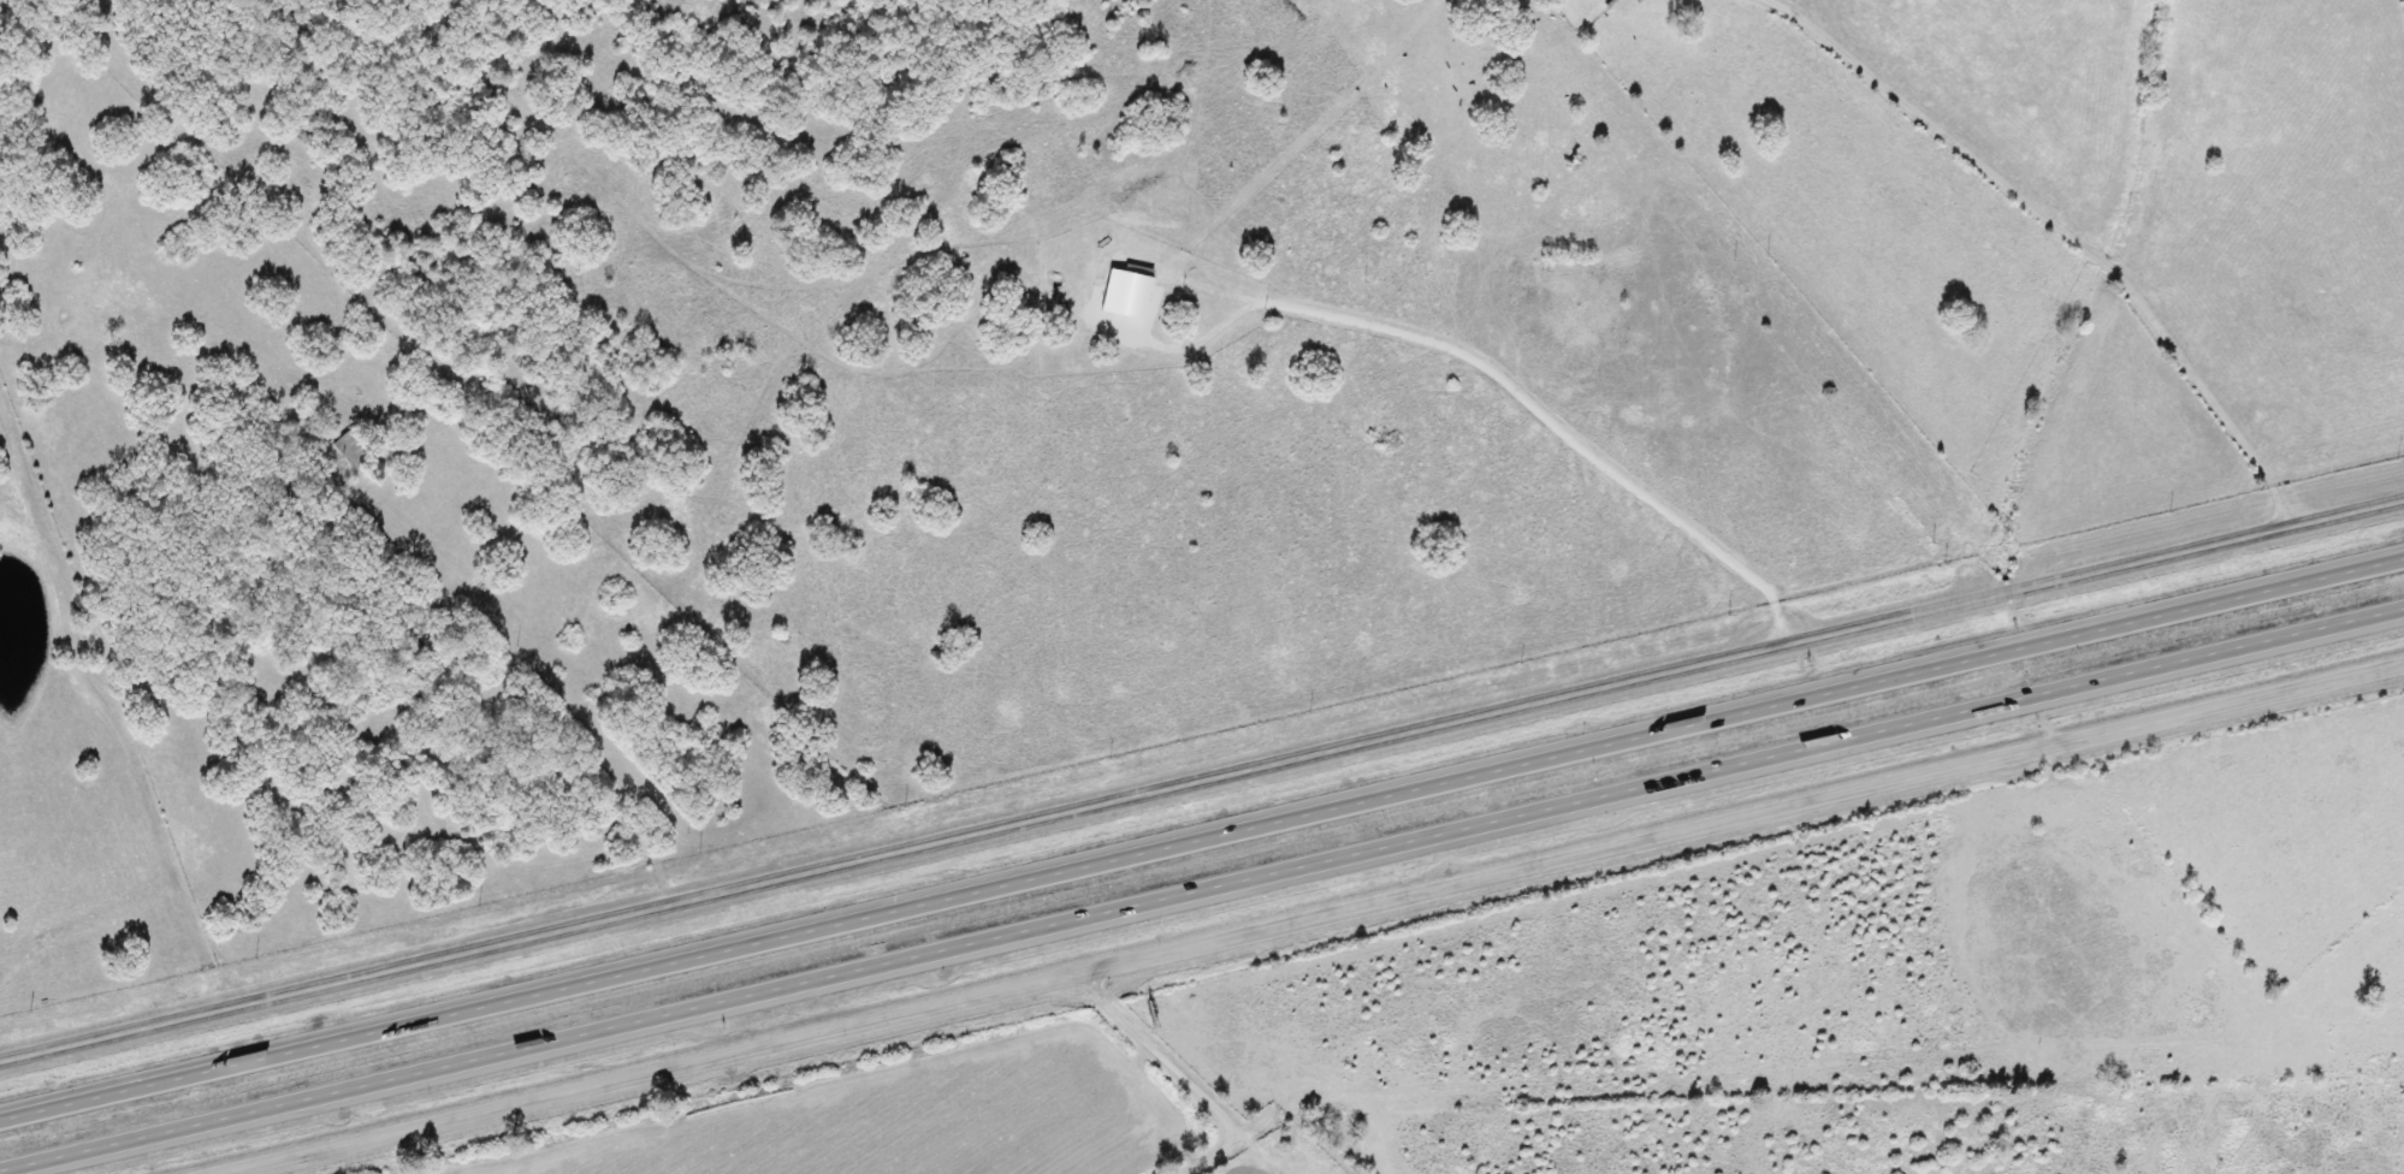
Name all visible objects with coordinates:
road: (2066, 230)
building: (348, 449)
road: (1202, 777)
road: (1202, 838)
road: (1202, 889)
road: (1310, 918)
road: (1183, 1081)

